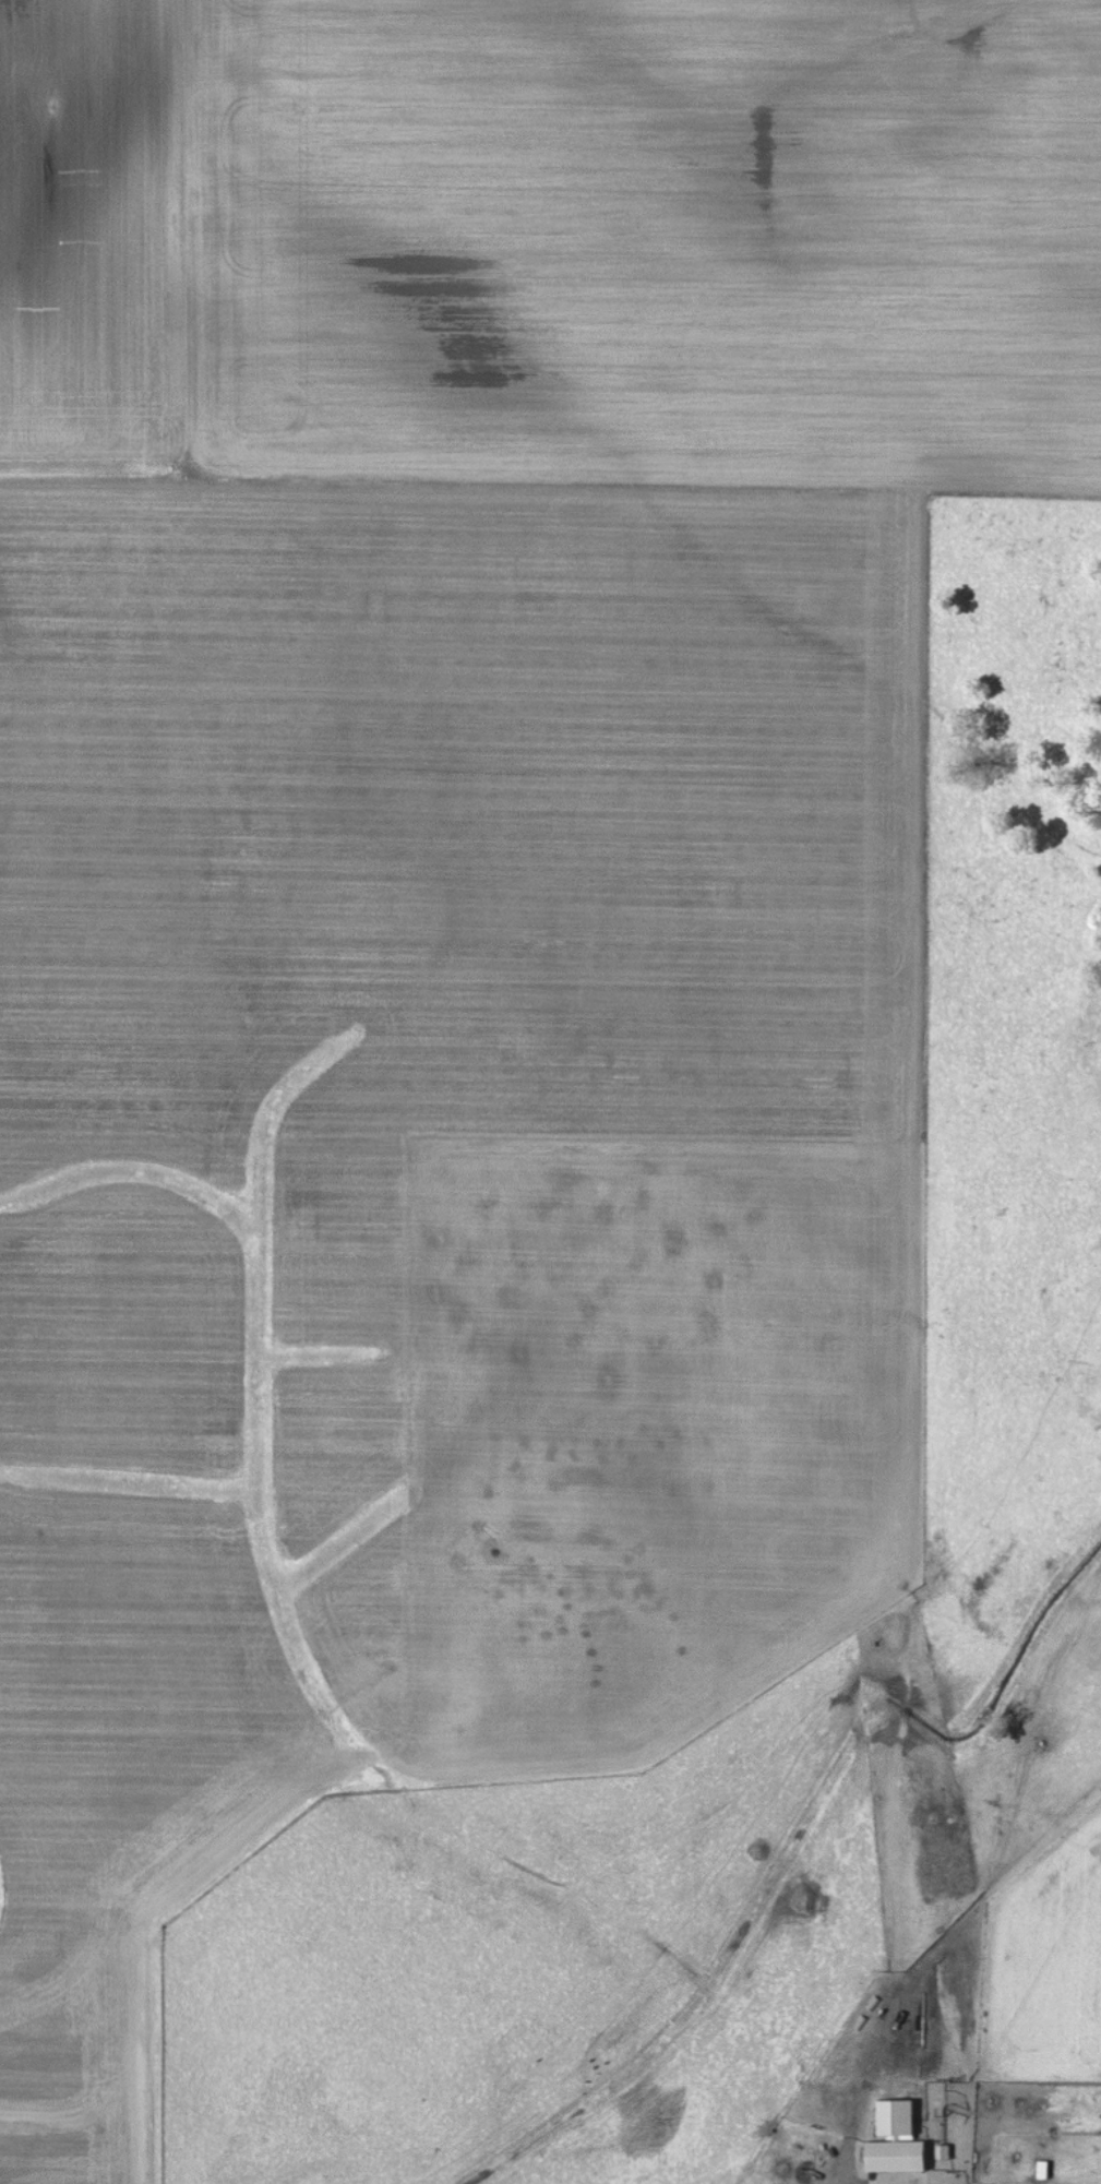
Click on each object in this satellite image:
building: (894, 2139)
building: (941, 2151)

